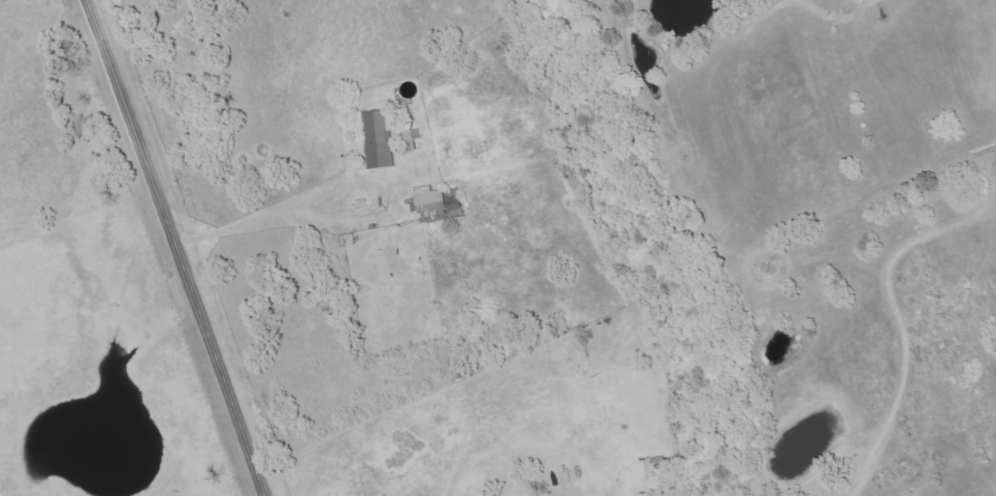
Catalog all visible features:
building: (412, 138)
building: (378, 141)
building: (438, 206)
road: (279, 212)
road: (176, 247)

